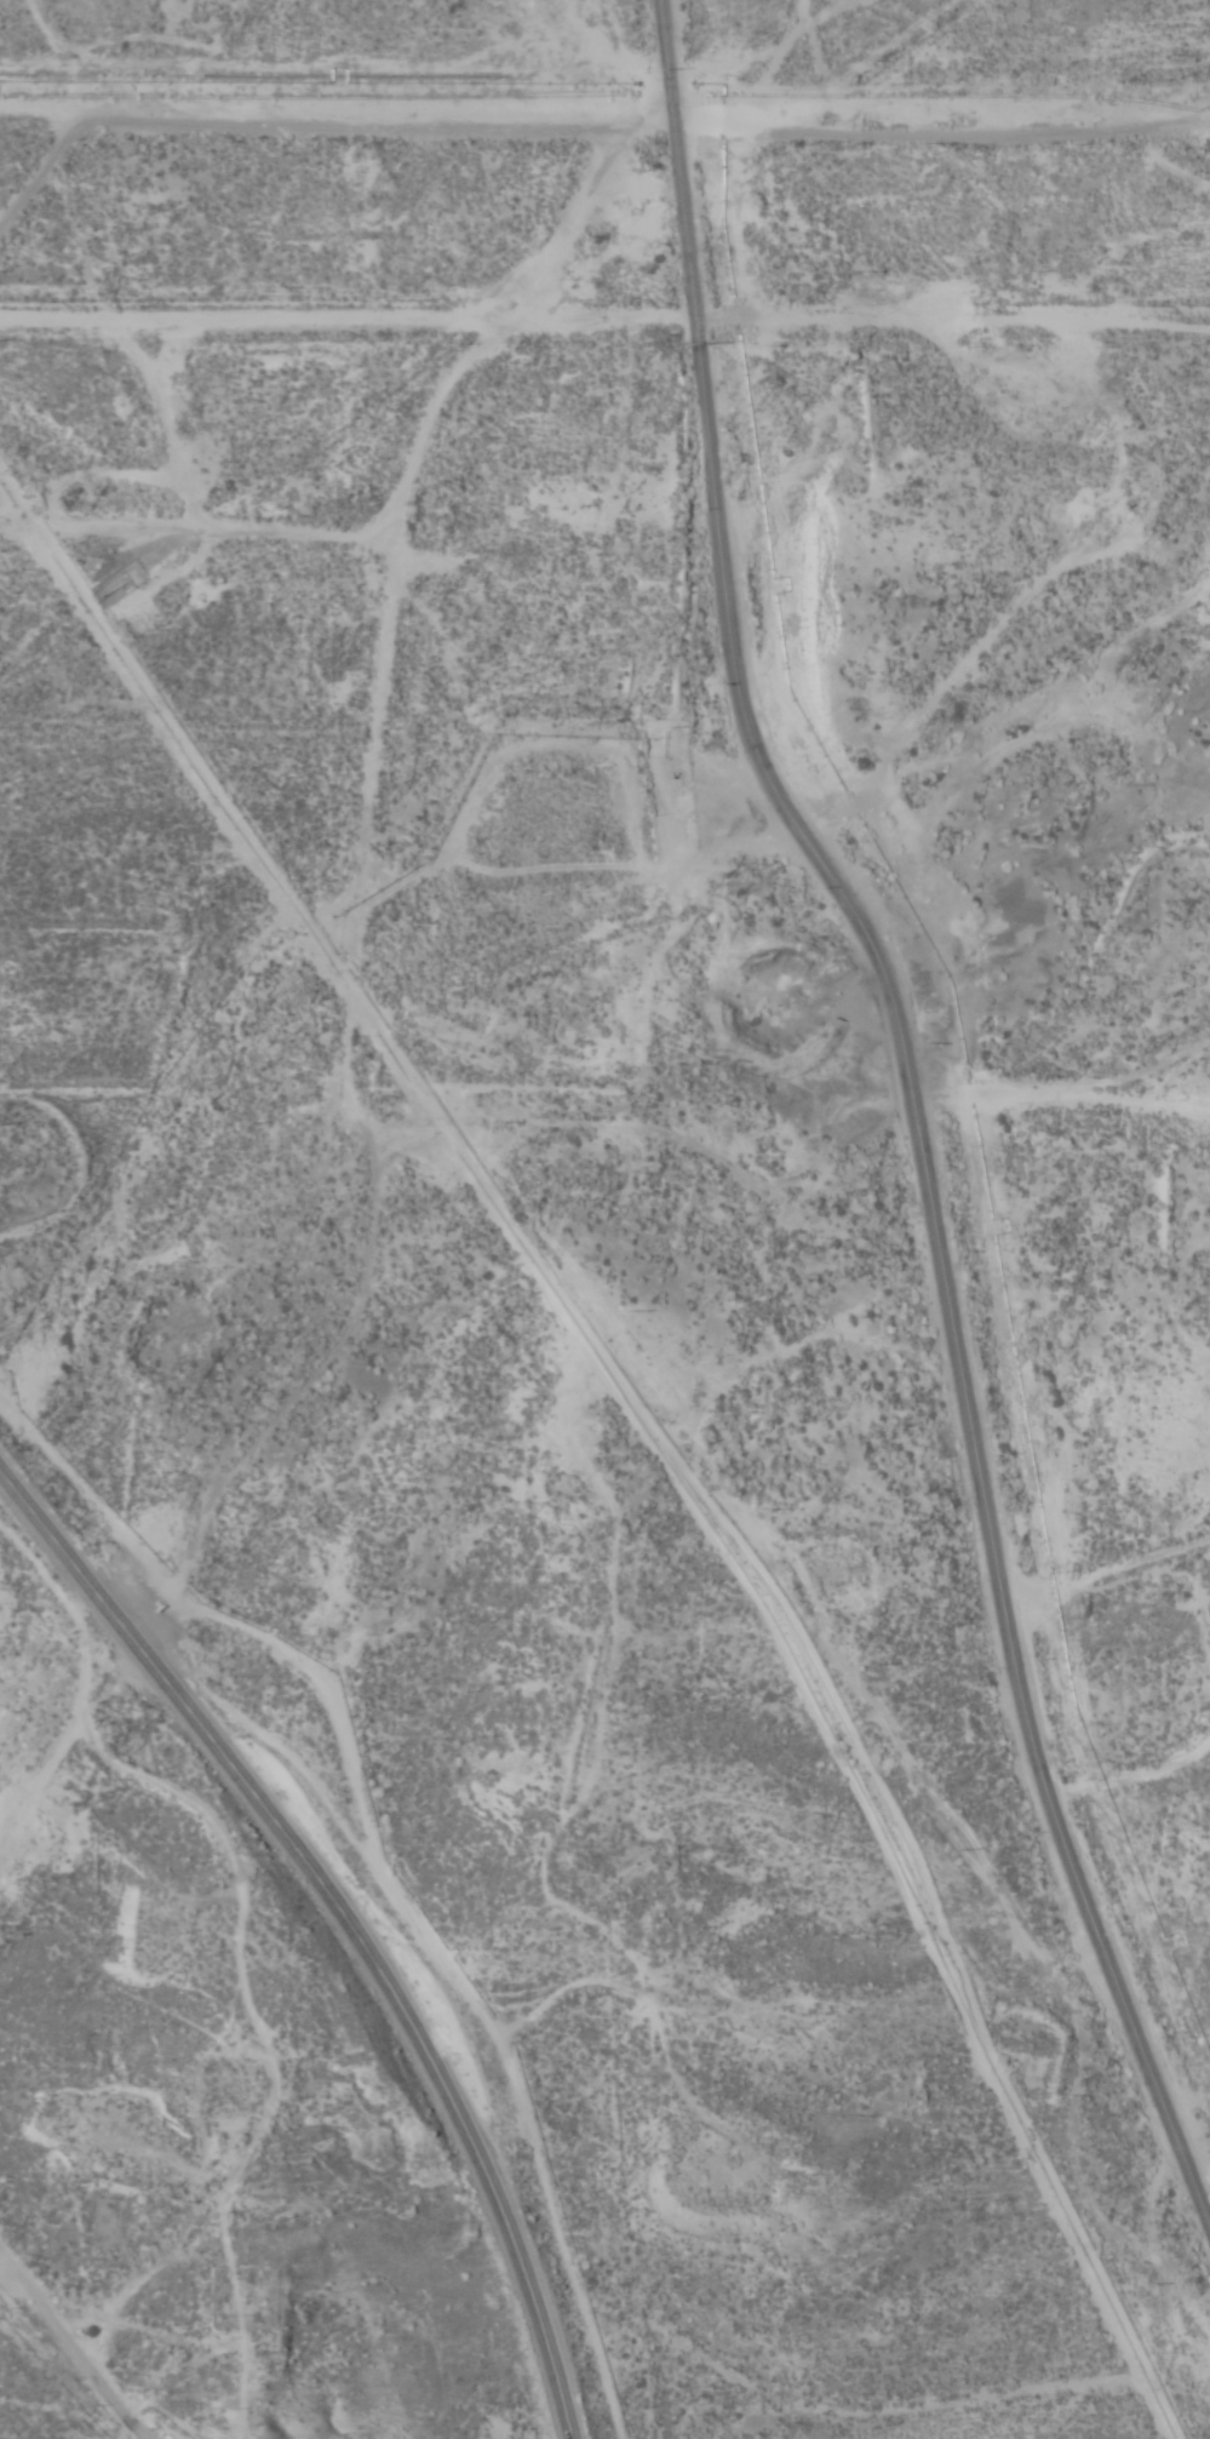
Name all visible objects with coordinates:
road: (912, 1104)
road: (352, 1914)

